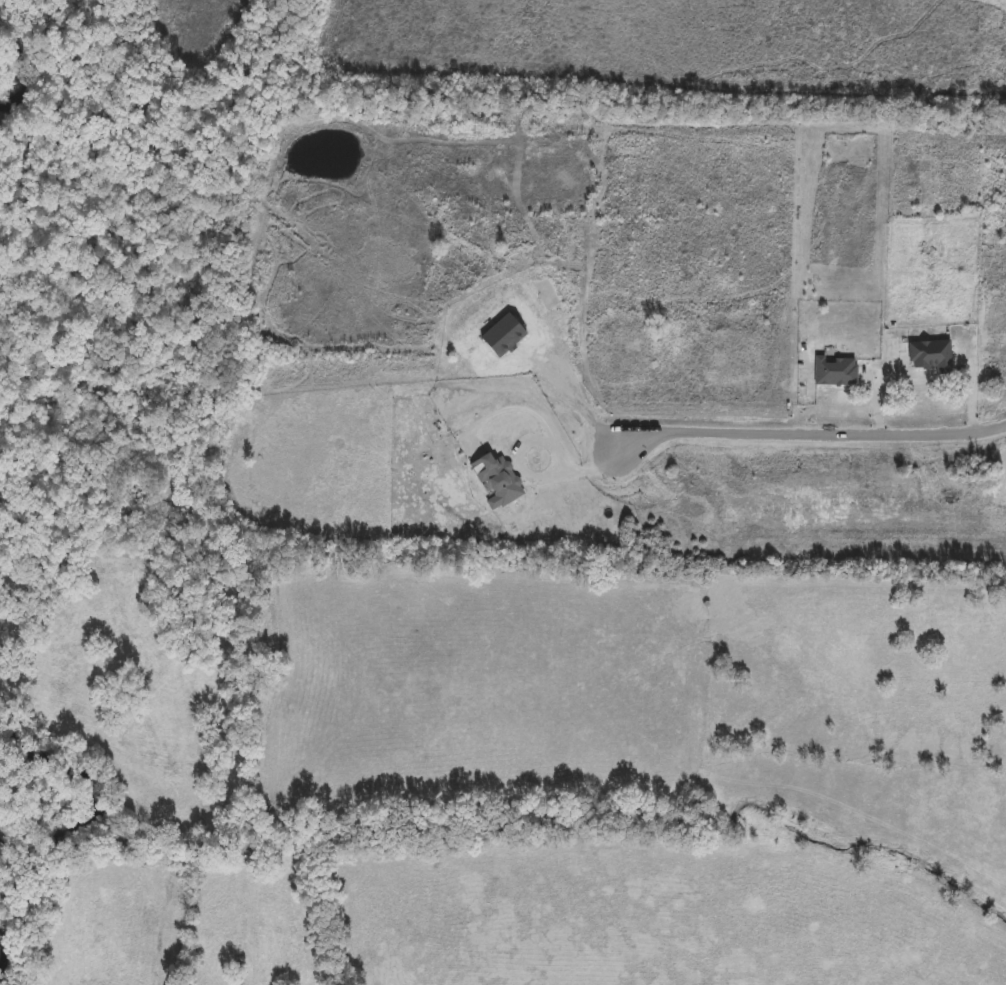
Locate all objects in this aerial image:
road: (577, 397)
road: (811, 433)
road: (576, 468)

